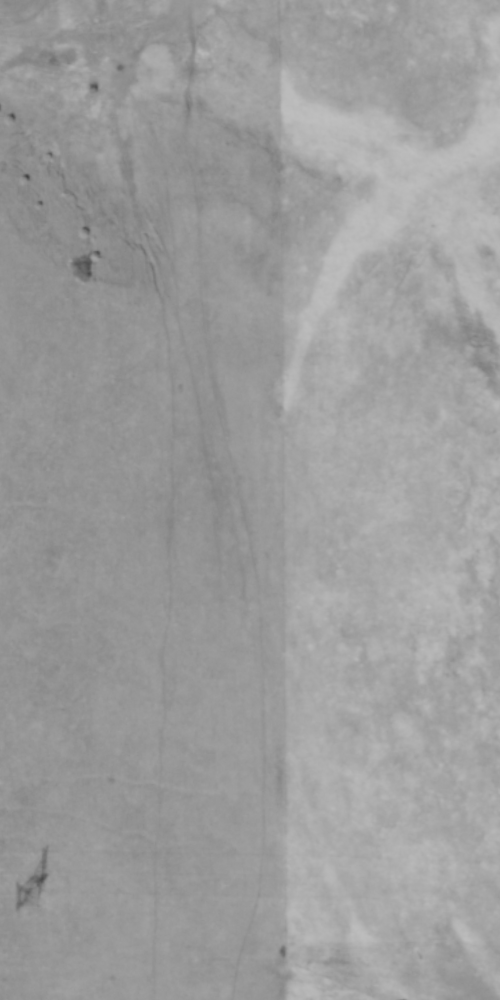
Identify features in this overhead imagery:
power tower: (30, 897)

